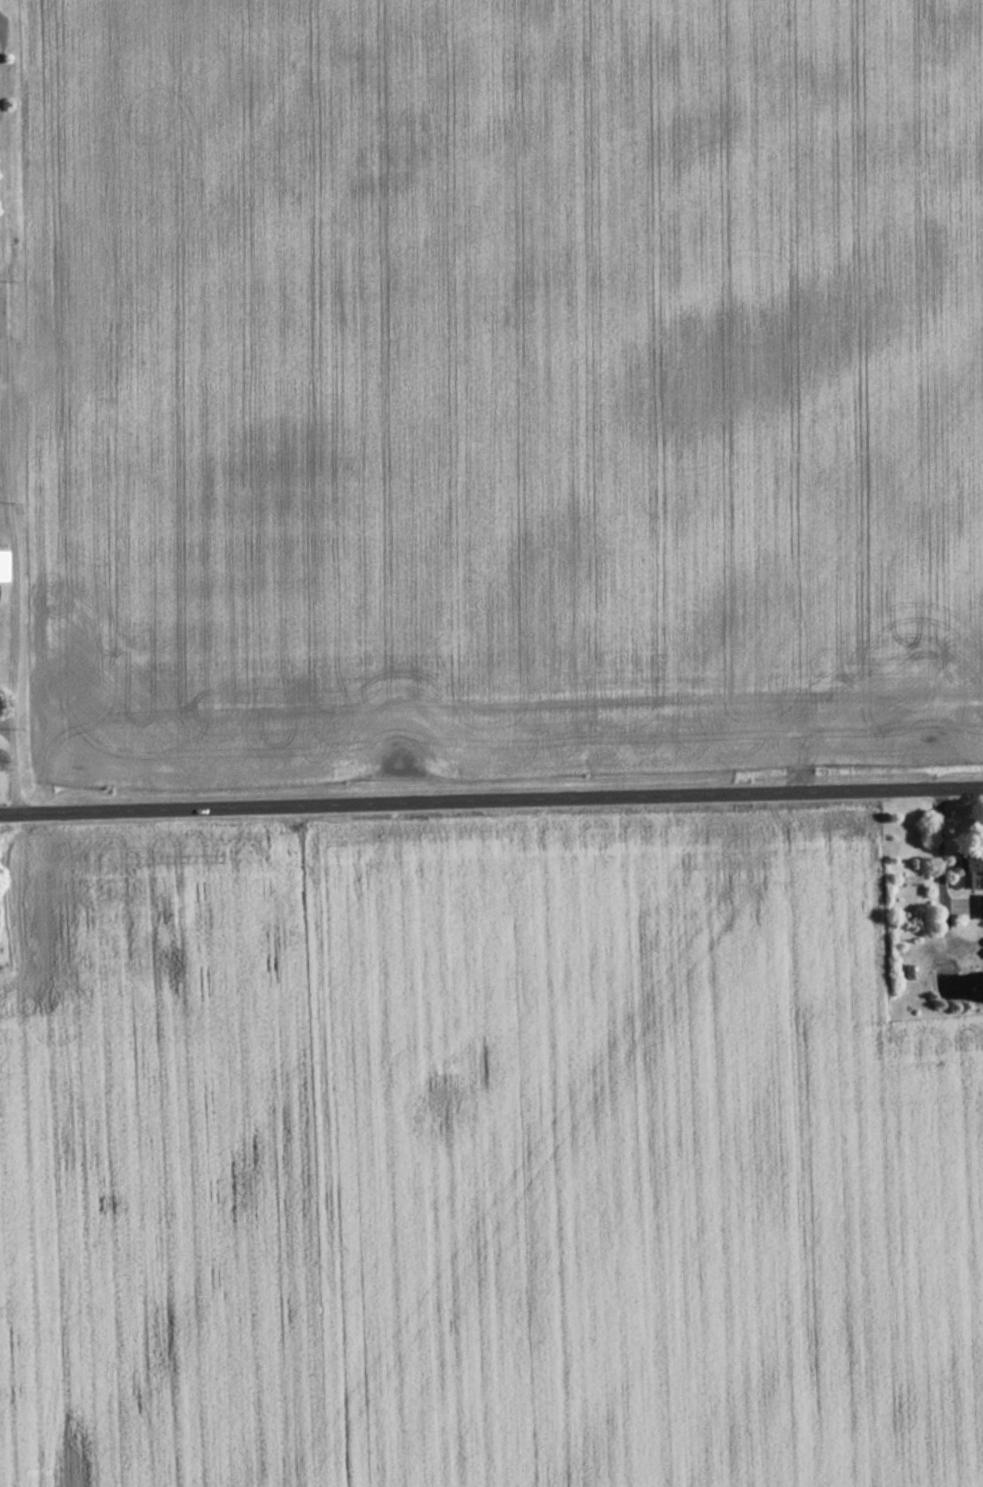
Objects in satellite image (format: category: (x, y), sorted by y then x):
crop: (499, 387)
building: (1, 566)
road: (10, 617)
road: (4, 724)
road: (491, 798)
crop: (479, 1164)

